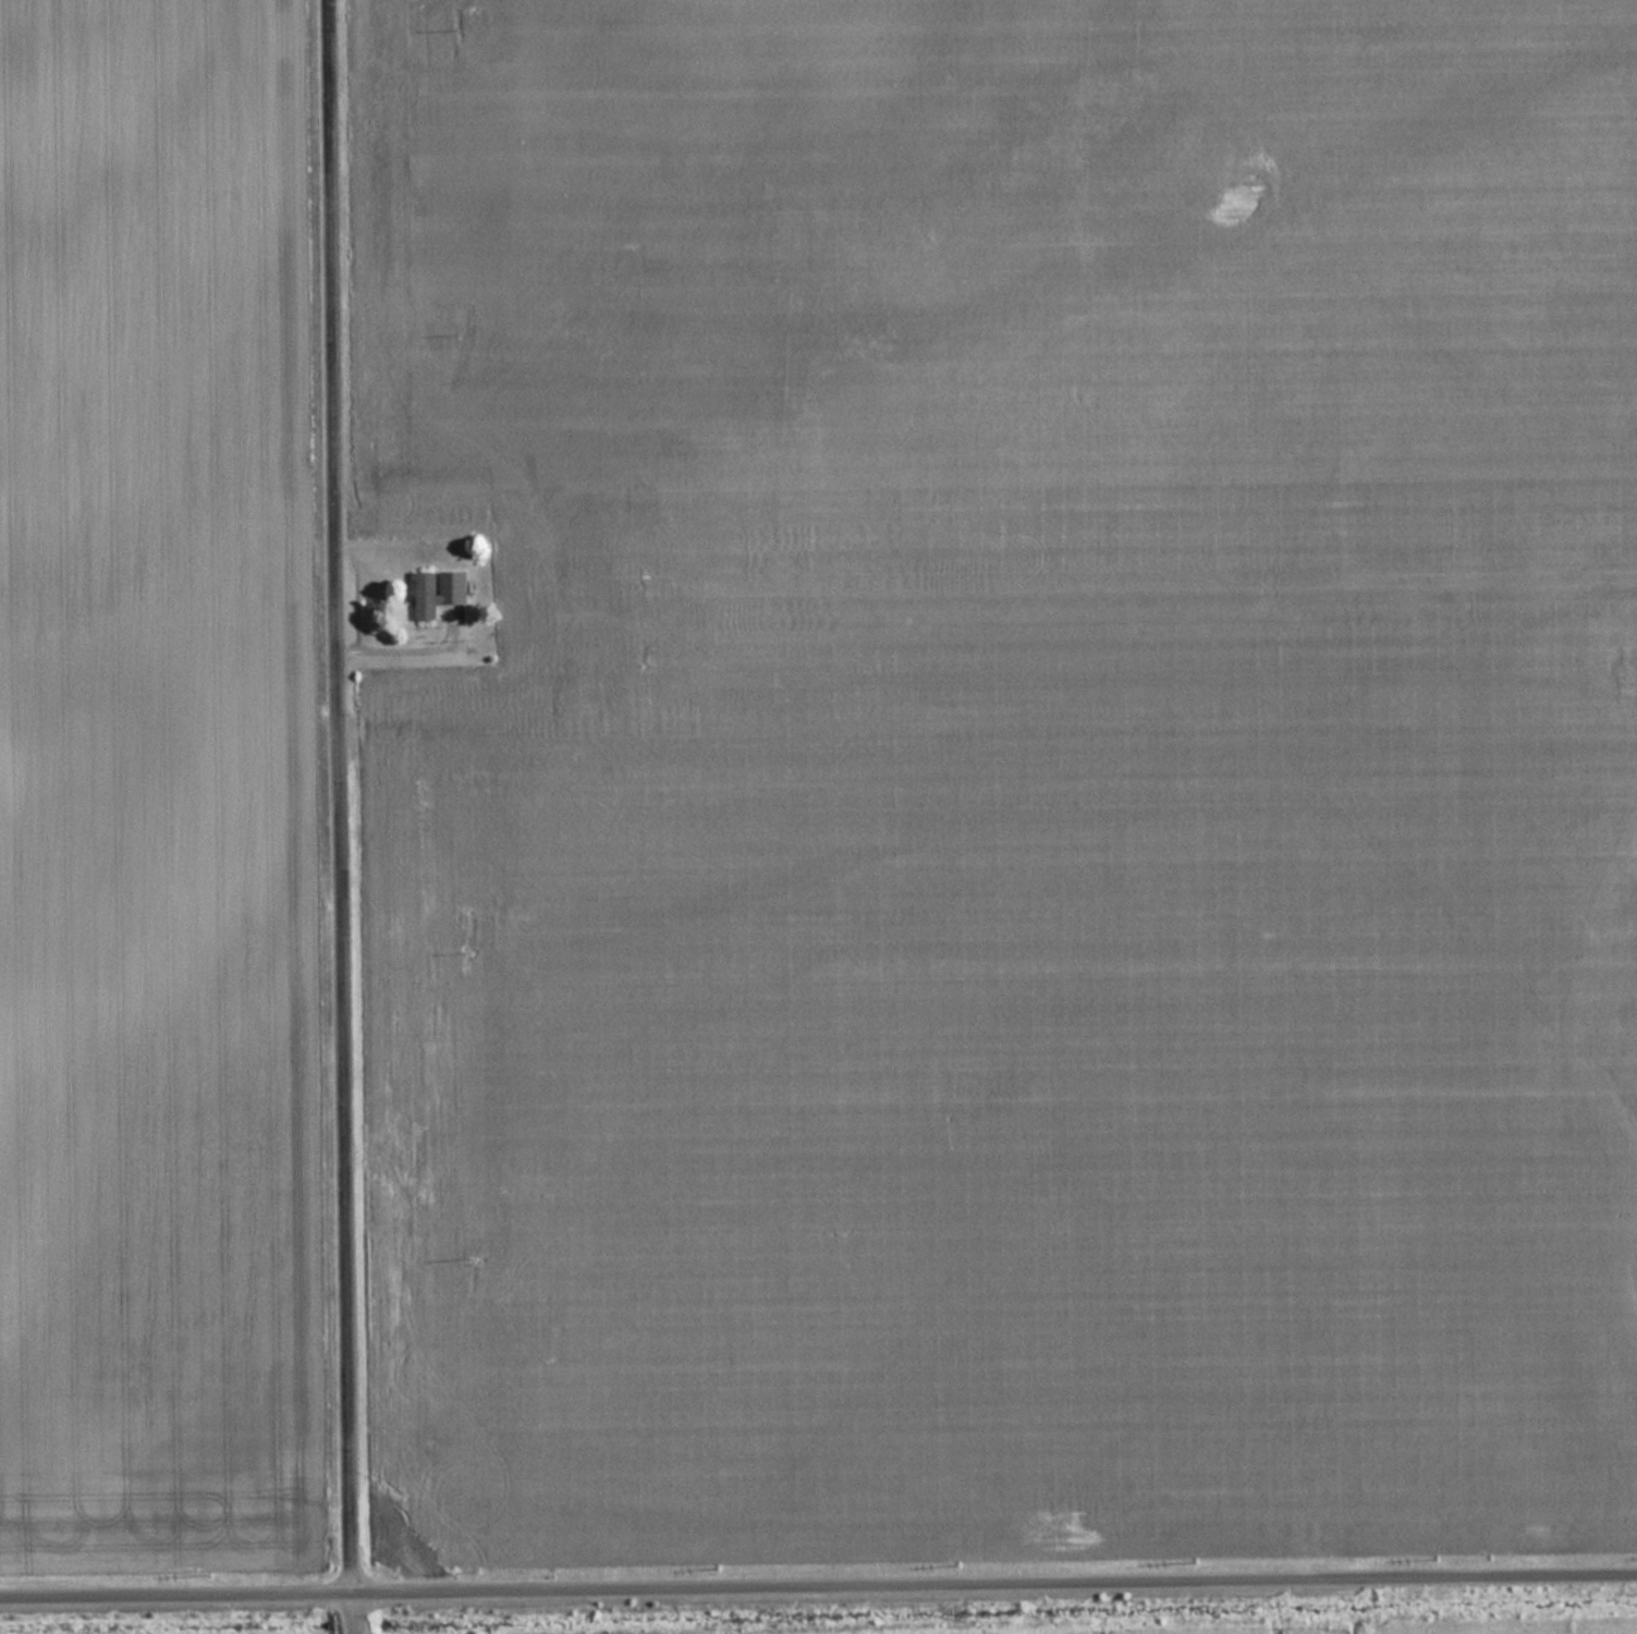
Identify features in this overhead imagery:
building: (438, 589)
road: (340, 817)
road: (818, 1586)

